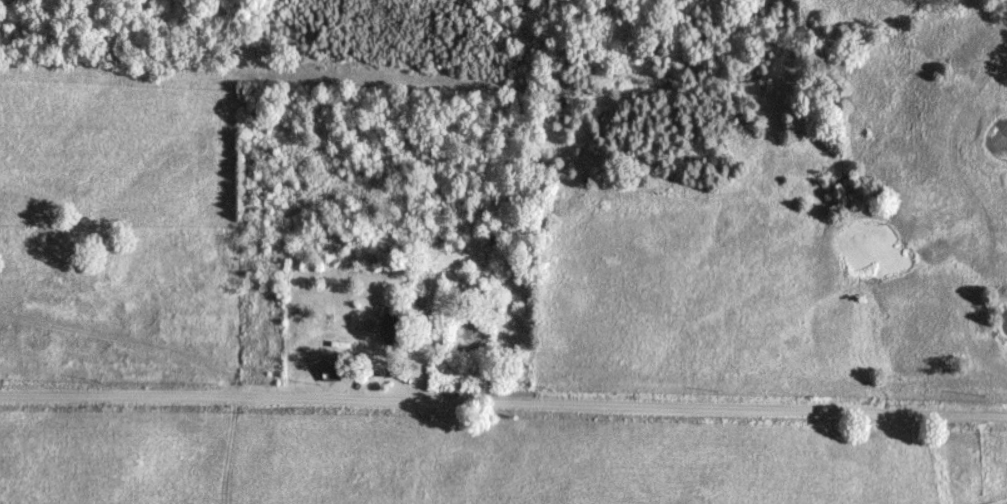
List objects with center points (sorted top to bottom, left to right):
road: (503, 408)

